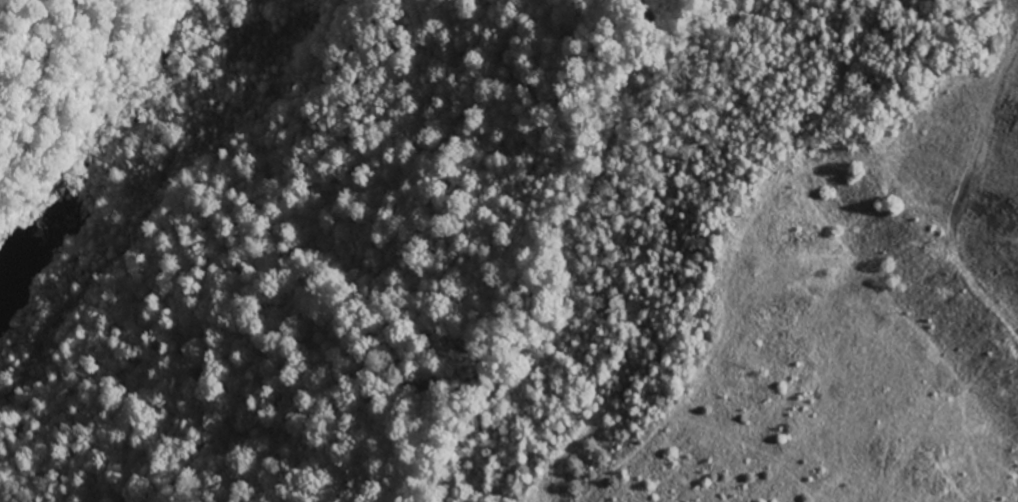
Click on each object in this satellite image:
quarry: (987, 201)

